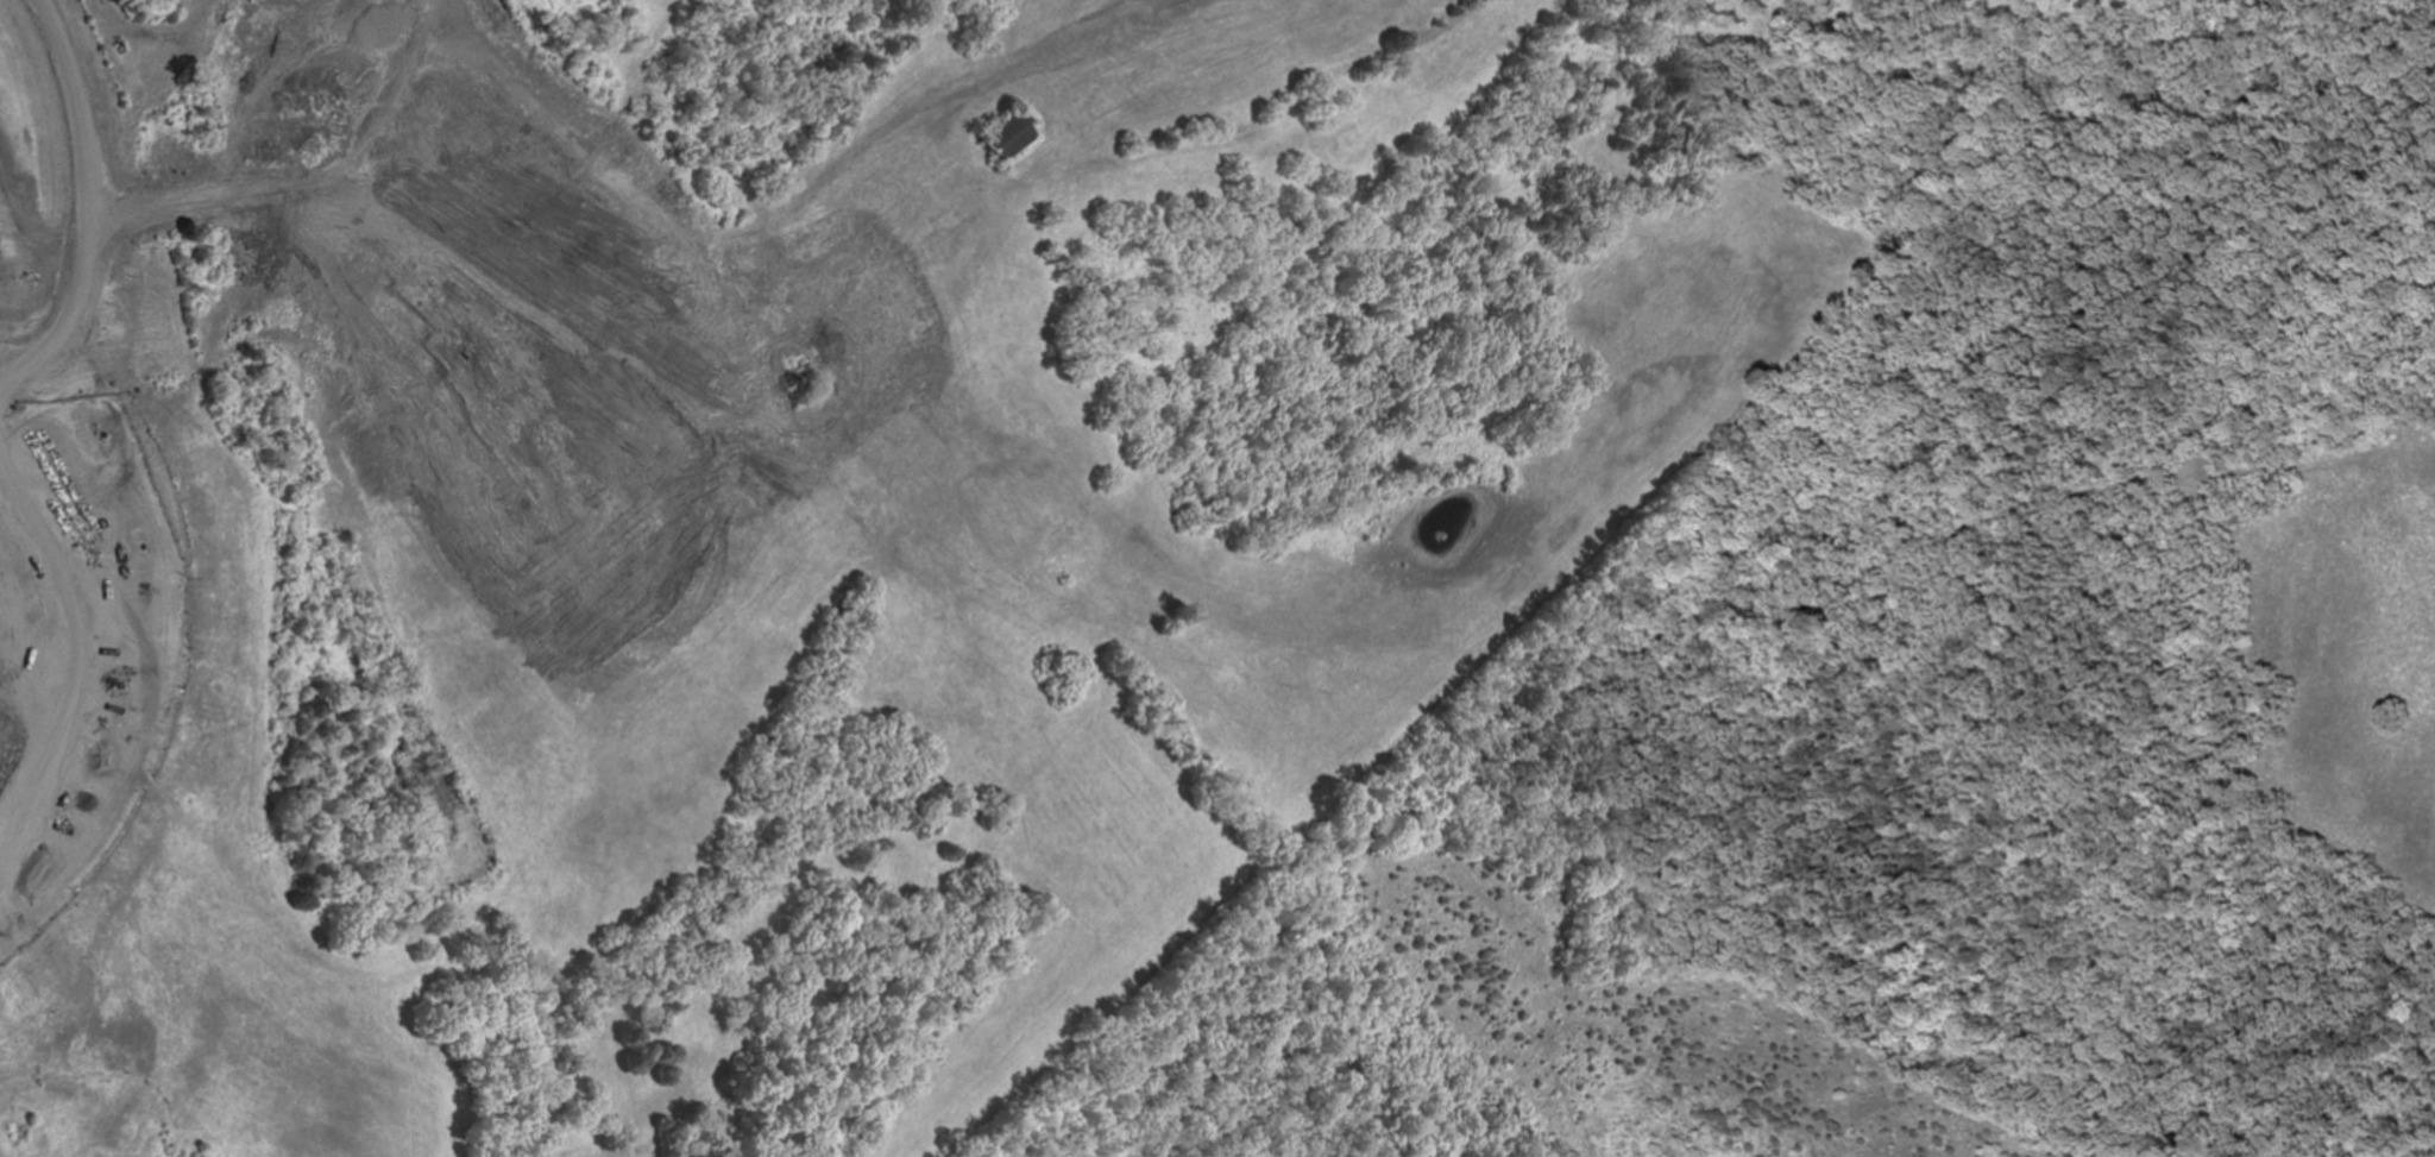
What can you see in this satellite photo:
building: (1003, 137)
building: (697, 435)

